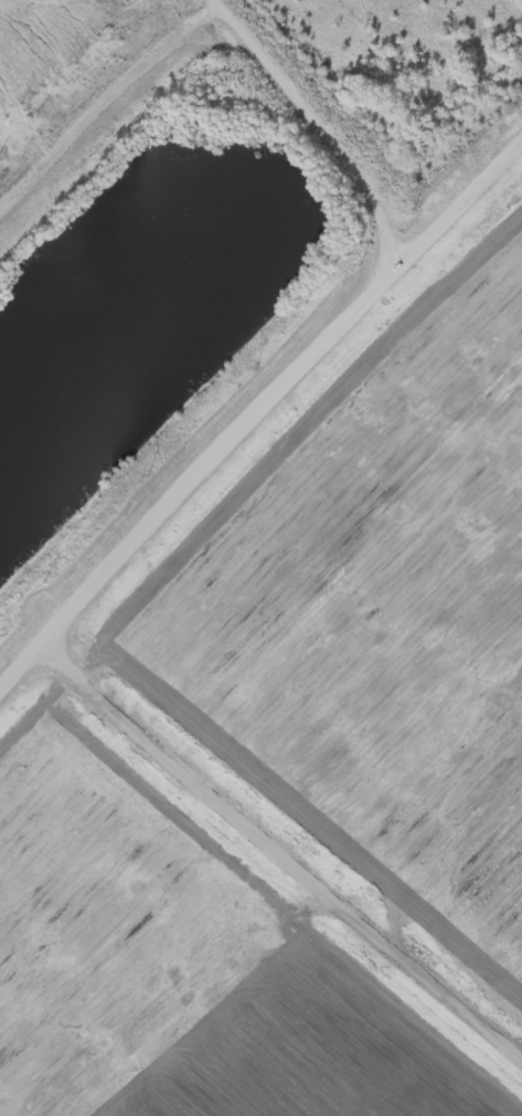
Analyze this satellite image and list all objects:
road: (324, 118)
road: (257, 414)
wastewater plant: (260, 558)
road: (281, 847)

